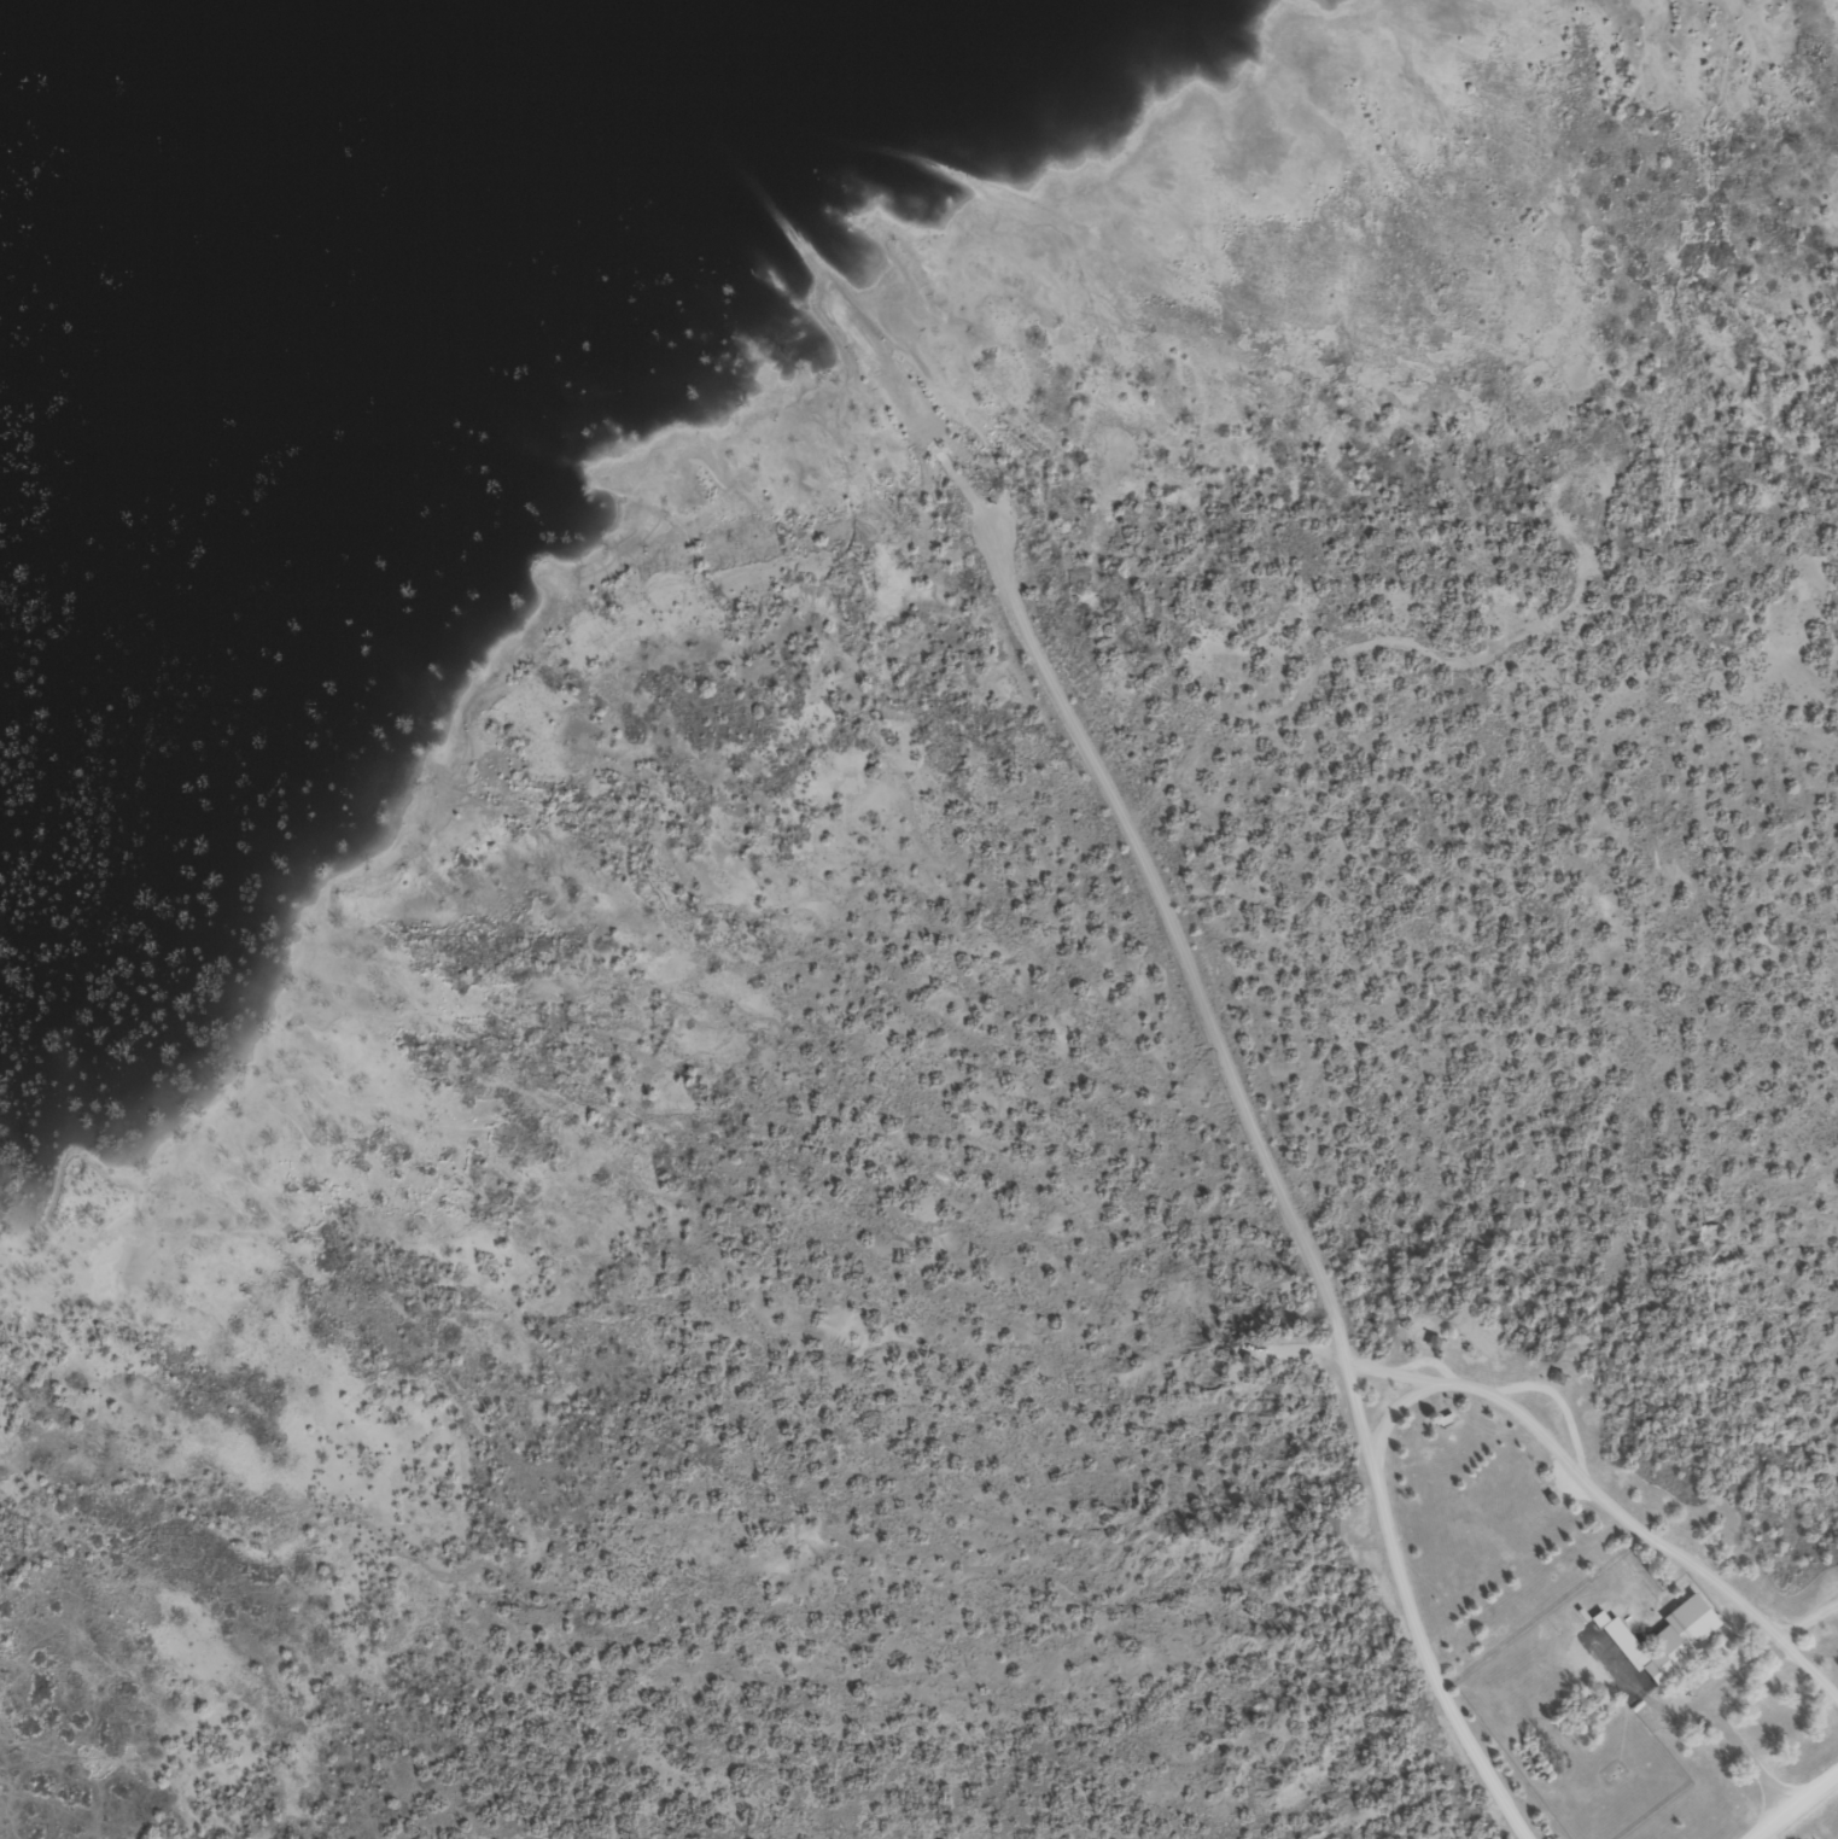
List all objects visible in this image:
road: (1440, 1388)
building: (1671, 1642)
road: (1797, 1806)

